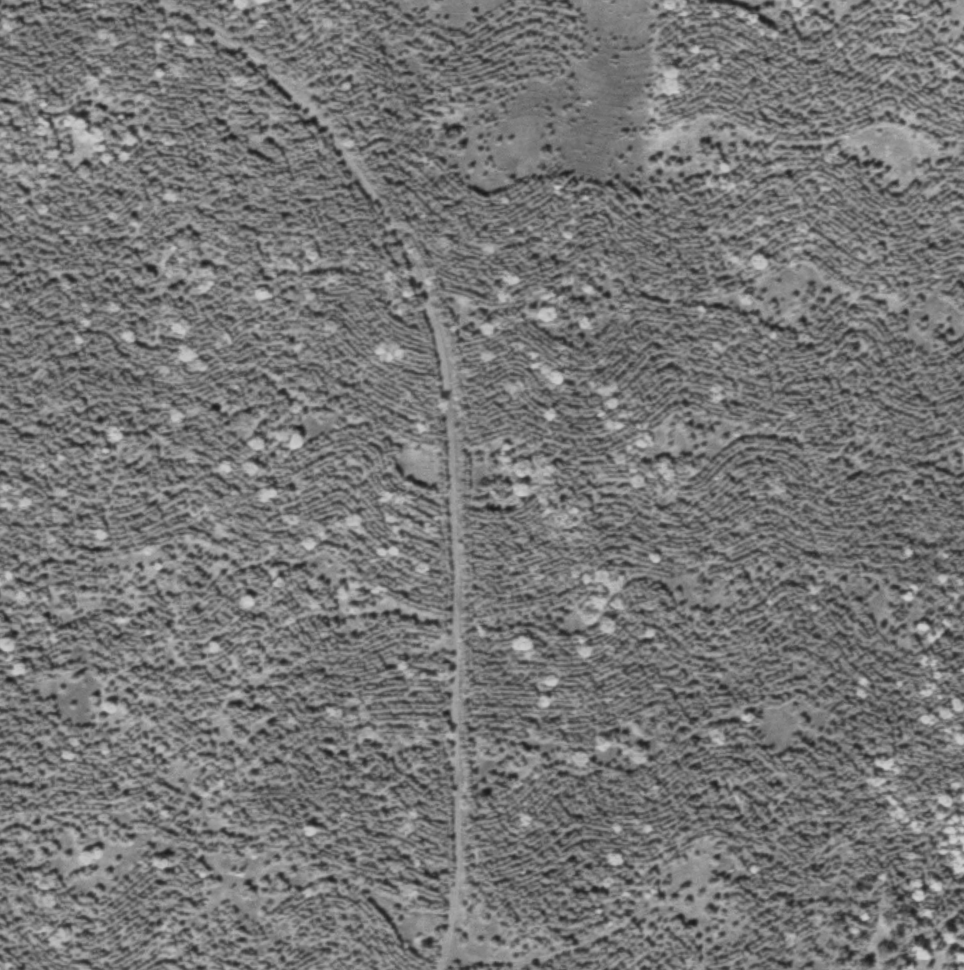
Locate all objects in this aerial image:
road: (453, 428)
road: (598, 937)

